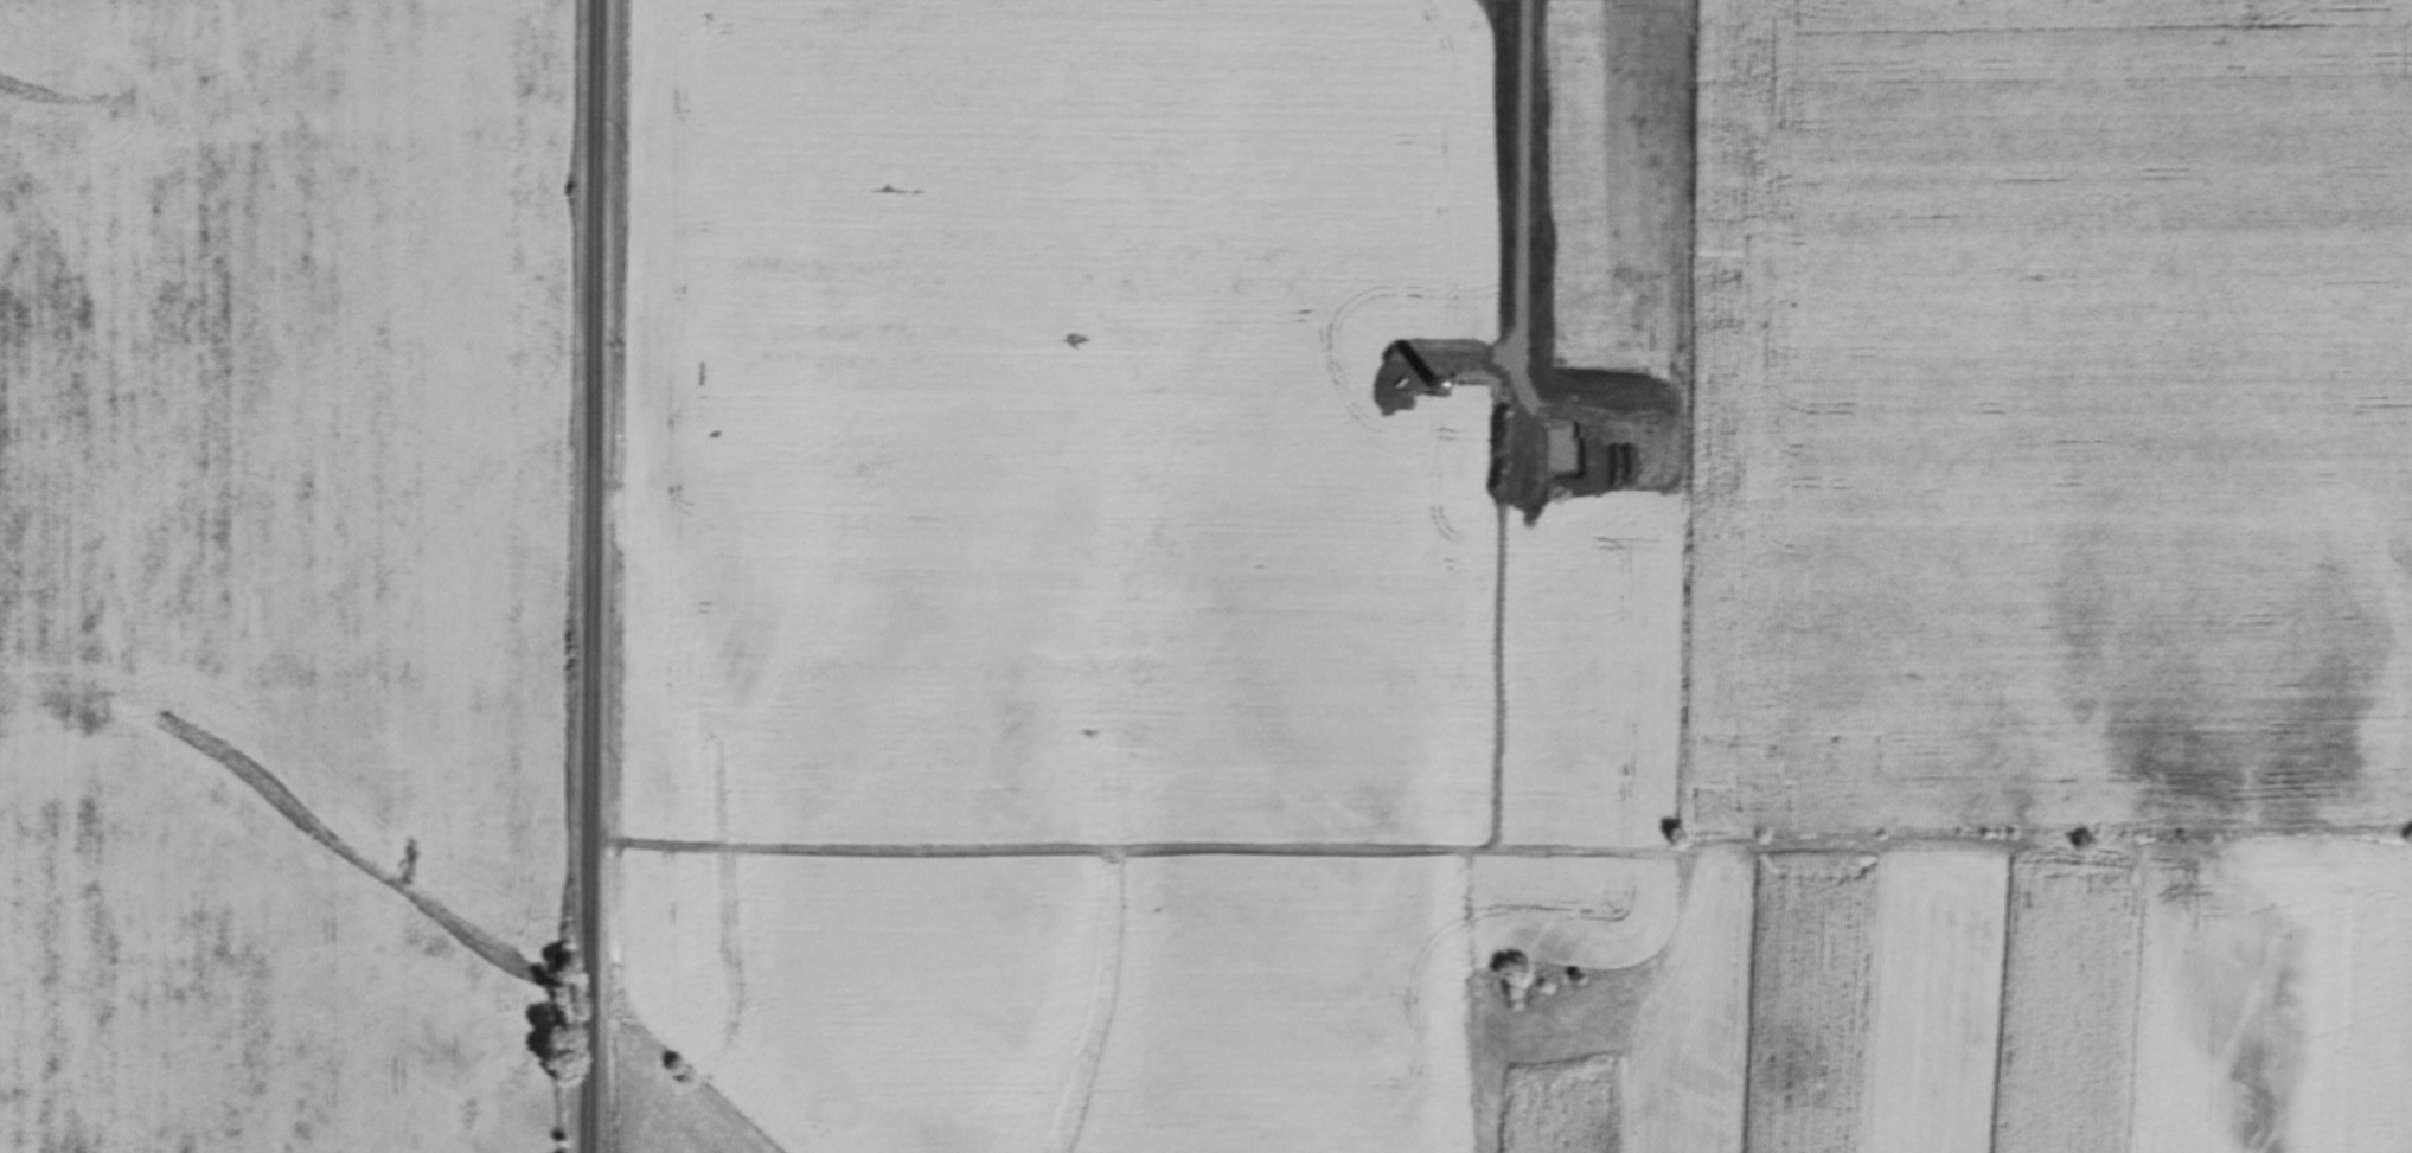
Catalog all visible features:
road: (589, 576)

